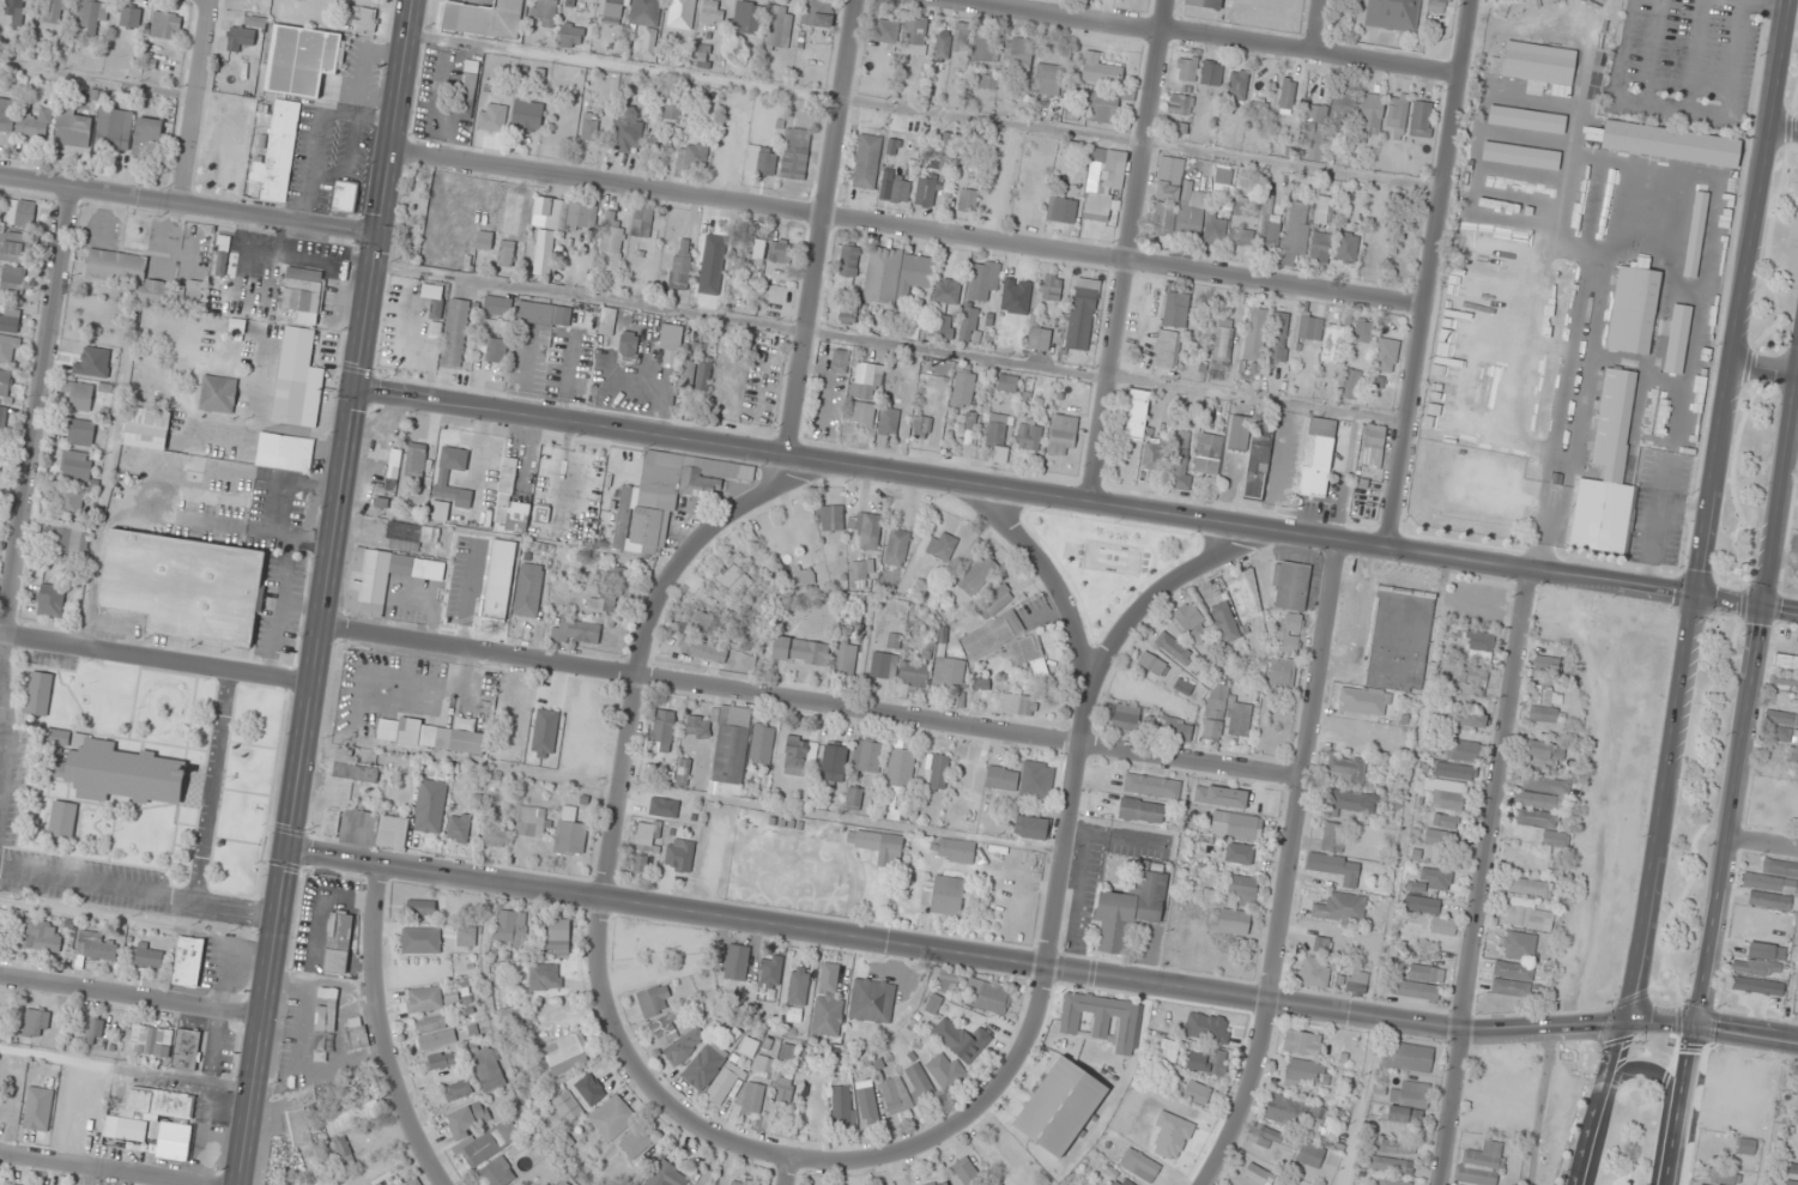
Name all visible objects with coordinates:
building: (1205, 4)
building: (14, 7)
building: (54, 10)
building: (609, 11)
building: (646, 12)
building: (712, 12)
building: (545, 13)
building: (682, 13)
building: (817, 13)
building: (91, 14)
building: (1393, 14)
building: (129, 17)
building: (357, 18)
building: (483, 18)
building: (749, 18)
building: (165, 25)
road: (1316, 25)
building: (779, 28)
building: (884, 31)
building: (243, 34)
building: (570, 36)
building: (916, 36)
road: (1217, 36)
building: (952, 41)
building: (983, 49)
building: (1021, 53)
building: (301, 59)
building: (1537, 62)
building: (1186, 68)
building: (1100, 71)
building: (1211, 73)
building: (1047, 80)
building: (987, 83)
building: (1237, 85)
building: (466, 96)
building: (1287, 97)
road: (192, 101)
building: (1180, 104)
building: (1343, 107)
building: (671, 108)
building: (1102, 108)
building: (1257, 114)
building: (1397, 114)
building: (527, 115)
building: (1372, 115)
building: (6, 116)
building: (491, 117)
building: (1421, 119)
building: (1525, 119)
building: (35, 125)
building: (589, 127)
building: (1180, 127)
road: (1781, 127)
building: (73, 128)
building: (114, 129)
building: (1314, 133)
building: (626, 137)
building: (147, 138)
building: (734, 139)
building: (1664, 143)
building: (891, 146)
building: (279, 149)
building: (794, 153)
building: (1519, 155)
building: (694, 156)
building: (759, 161)
building: (866, 162)
building: (718, 165)
building: (1223, 176)
building: (1169, 179)
building: (1102, 182)
building: (895, 189)
building: (925, 191)
building: (344, 197)
building: (967, 200)
road: (189, 204)
building: (1242, 206)
building: (1064, 211)
building: (1322, 211)
building: (20, 213)
building: (1191, 213)
building: (1163, 219)
building: (642, 220)
building: (1269, 222)
building: (556, 225)
building: (1216, 228)
road: (908, 231)
building: (1295, 232)
building: (1694, 235)
traffic signals: (380, 236)
building: (1241, 236)
building: (483, 241)
building: (709, 246)
building: (12, 247)
building: (610, 248)
building: (750, 248)
building: (1320, 248)
building: (781, 250)
road: (1132, 250)
building: (506, 253)
building: (848, 261)
building: (680, 267)
building: (126, 273)
road: (1431, 273)
building: (13, 274)
building: (895, 274)
building: (982, 279)
building: (1051, 286)
building: (303, 290)
building: (946, 291)
building: (189, 296)
building: (1016, 296)
building: (713, 297)
road: (1742, 300)
building: (500, 307)
building: (1175, 309)
building: (1631, 309)
building: (544, 314)
building: (1082, 314)
building: (10, 321)
building: (606, 321)
building: (968, 324)
building: (1310, 327)
building: (454, 333)
building: (1363, 333)
building: (671, 337)
building: (1281, 337)
building: (1039, 338)
building: (1676, 338)
building: (1223, 343)
building: (1253, 343)
building: (628, 344)
building: (1333, 344)
building: (7, 350)
building: (492, 350)
building: (1166, 350)
building: (1386, 355)
building: (839, 361)
road: (1763, 367)
building: (940, 368)
road: (1796, 371)
building: (686, 374)
building: (703, 375)
building: (297, 380)
building: (5, 382)
building: (1007, 383)
building: (1350, 383)
traffic signals: (357, 388)
building: (963, 389)
building: (77, 394)
building: (218, 394)
building: (861, 398)
road: (38, 411)
building: (1136, 415)
building: (2, 418)
building: (888, 421)
road: (351, 425)
building: (922, 427)
building: (145, 428)
building: (80, 433)
building: (1239, 433)
building: (998, 435)
building: (1028, 435)
building: (1061, 435)
building: (1373, 446)
building: (1, 449)
building: (284, 453)
building: (1152, 454)
building: (1207, 454)
building: (1318, 458)
building: (414, 461)
building: (75, 465)
building: (1258, 465)
building: (393, 470)
building: (1606, 472)
road: (1778, 473)
building: (1180, 474)
building: (228, 476)
building: (442, 478)
road: (783, 478)
road: (1025, 490)
building: (667, 496)
building: (69, 501)
building: (509, 502)
building: (540, 515)
building: (829, 518)
building: (866, 530)
building: (65, 537)
building: (404, 537)
building: (940, 545)
building: (896, 546)
building: (610, 573)
road: (1051, 573)
building: (858, 574)
building: (977, 574)
building: (383, 578)
building: (805, 578)
building: (732, 579)
building: (183, 585)
building: (1290, 586)
building: (528, 590)
railway: (1576, 590)
building: (1245, 594)
traffic signals: (1694, 599)
building: (50, 600)
building: (603, 600)
building: (994, 601)
road: (1726, 603)
traffic signals: (1758, 607)
road: (1778, 610)
building: (703, 622)
building: (1191, 622)
building: (1225, 622)
building: (576, 631)
building: (992, 634)
building: (1288, 634)
building: (1478, 641)
building: (1173, 647)
building: (702, 649)
building: (799, 649)
building: (1393, 649)
building: (1028, 657)
road: (157, 658)
road: (2, 659)
building: (844, 659)
building: (1548, 663)
building: (1785, 663)
building: (1152, 664)
building: (884, 665)
building: (946, 666)
building: (1282, 672)
building: (912, 675)
building: (1475, 678)
building: (1785, 679)
building: (1183, 687)
building: (38, 694)
building: (1778, 697)
road: (812, 699)
building: (1217, 700)
building: (1546, 705)
building: (1018, 706)
road: (1089, 706)
building: (1125, 717)
building: (1239, 719)
building: (1471, 720)
building: (1779, 725)
building: (697, 726)
building: (1212, 726)
building: (1178, 730)
building: (662, 731)
building: (431, 736)
building: (762, 744)
building: (1466, 750)
building: (1543, 755)
building: (795, 756)
building: (867, 756)
building: (1792, 756)
building: (730, 760)
building: (834, 763)
building: (352, 768)
building: (900, 768)
building: (683, 770)
road: (1303, 770)
building: (1345, 770)
building: (1455, 770)
building: (117, 772)
building: (938, 772)
building: (964, 775)
building: (1023, 779)
building: (1151, 785)
road: (210, 786)
parking lot: (11, 791)
building: (1540, 792)
building: (1443, 794)
building: (1221, 797)
building: (853, 798)
building: (1351, 802)
building: (670, 805)
building: (430, 806)
building: (1140, 810)
road: (1726, 815)
building: (1526, 817)
building: (62, 820)
building: (1445, 821)
building: (532, 822)
building: (1235, 826)
building: (459, 827)
building: (1030, 827)
building: (374, 830)
building: (570, 833)
building: (647, 835)
building: (1333, 836)
building: (495, 838)
building: (1441, 839)
road: (1761, 839)
building: (1555, 840)
building: (882, 846)
building: (954, 851)
traffic signals: (289, 852)
building: (1240, 853)
building: (680, 857)
building: (640, 864)
building: (1336, 867)
road: (1488, 878)
building: (1443, 882)
building: (1773, 884)
building: (1530, 887)
building: (1243, 890)
road: (1641, 893)
road: (139, 894)
building: (944, 895)
building: (420, 907)
building: (1340, 907)
building: (1130, 909)
building: (1436, 914)
building: (1530, 915)
building: (1231, 921)
building: (510, 927)
building: (1410, 930)
building: (2, 935)
building: (42, 936)
building: (466, 936)
building: (558, 938)
building: (420, 941)
building: (338, 942)
building: (1321, 944)
building: (95, 945)
building: (1519, 947)
building: (1767, 951)
building: (145, 955)
road: (988, 960)
building: (188, 961)
building: (737, 962)
building: (1756, 968)
building: (770, 972)
building: (1315, 972)
building: (545, 977)
building: (1512, 979)
building: (1357, 981)
building: (798, 986)
building: (1758, 991)
traffic signals: (1624, 994)
building: (989, 996)
road: (132, 997)
building: (425, 999)
building: (654, 1000)
building: (872, 1000)
building: (828, 1002)
road: (264, 1018)
building: (1101, 1018)
traffic signals: (1602, 1018)
building: (326, 1022)
building: (36, 1023)
building: (1207, 1027)
building: (665, 1028)
traffic signals: (1718, 1028)
building: (93, 1030)
road: (385, 1030)
building: (432, 1032)
building: (356, 1033)
road: (1744, 1033)
building: (150, 1040)
building: (1302, 1042)
building: (685, 1045)
building: (970, 1045)
traffic signals: (1688, 1045)
building: (749, 1046)
building: (187, 1050)
building: (1168, 1051)
building: (787, 1052)
building: (565, 1053)
building: (1409, 1057)
building: (442, 1060)
building: (704, 1065)
road: (636, 1068)
building: (488, 1069)
road: (1655, 1069)
building: (945, 1070)
building: (1303, 1071)
building: (919, 1081)
building: (724, 1083)
building: (458, 1089)
building: (591, 1089)
building: (783, 1089)
building: (1197, 1093)
building: (1410, 1094)
building: (895, 1095)
road: (1249, 1096)
building: (752, 1098)
building: (866, 1099)
building: (1148, 1101)
road: (1677, 1104)
building: (843, 1105)
building: (568, 1106)
building: (1059, 1106)
building: (38, 1108)
building: (1295, 1113)
building: (1398, 1113)
building: (353, 1118)
building: (612, 1118)
building: (468, 1119)
building: (1797, 1120)
building: (158, 1121)
road: (958, 1121)
building: (297, 1129)
building: (491, 1142)
building: (636, 1142)
building: (278, 1143)
building: (1746, 1147)
building: (1397, 1148)
building: (1003, 1150)
building: (344, 1151)
building: (1310, 1154)
building: (1482, 1163)
building: (1140, 1165)
building: (1391, 1165)
road: (103, 1169)
building: (381, 1169)
building: (967, 1171)
road: (783, 1172)
building: (497, 1173)
building: (1258, 1174)
building: (667, 1175)
building: (1724, 1178)
building: (411, 1181)
building: (740, 1181)
building: (1393, 1181)
building: (563, 1183)
building: (939, 1183)
building: (1126, 1183)

